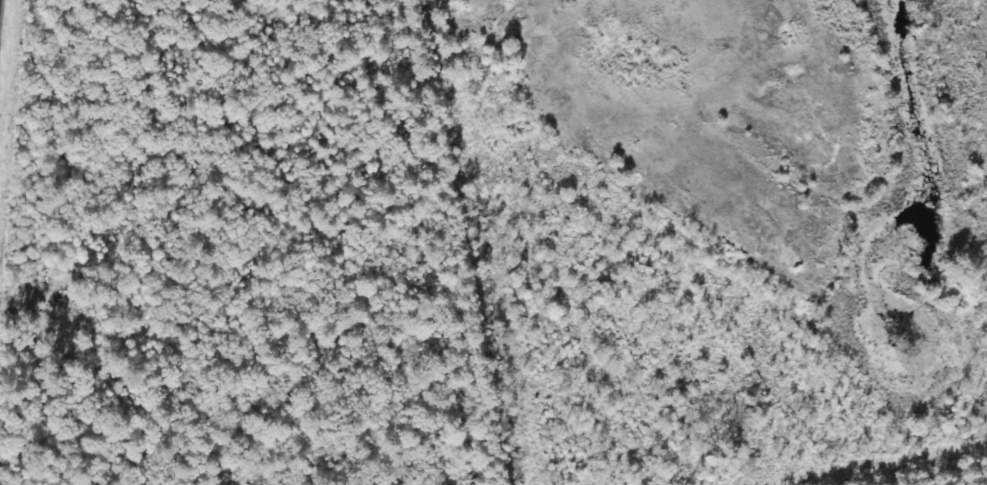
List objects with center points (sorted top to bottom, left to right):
road: (837, 445)

